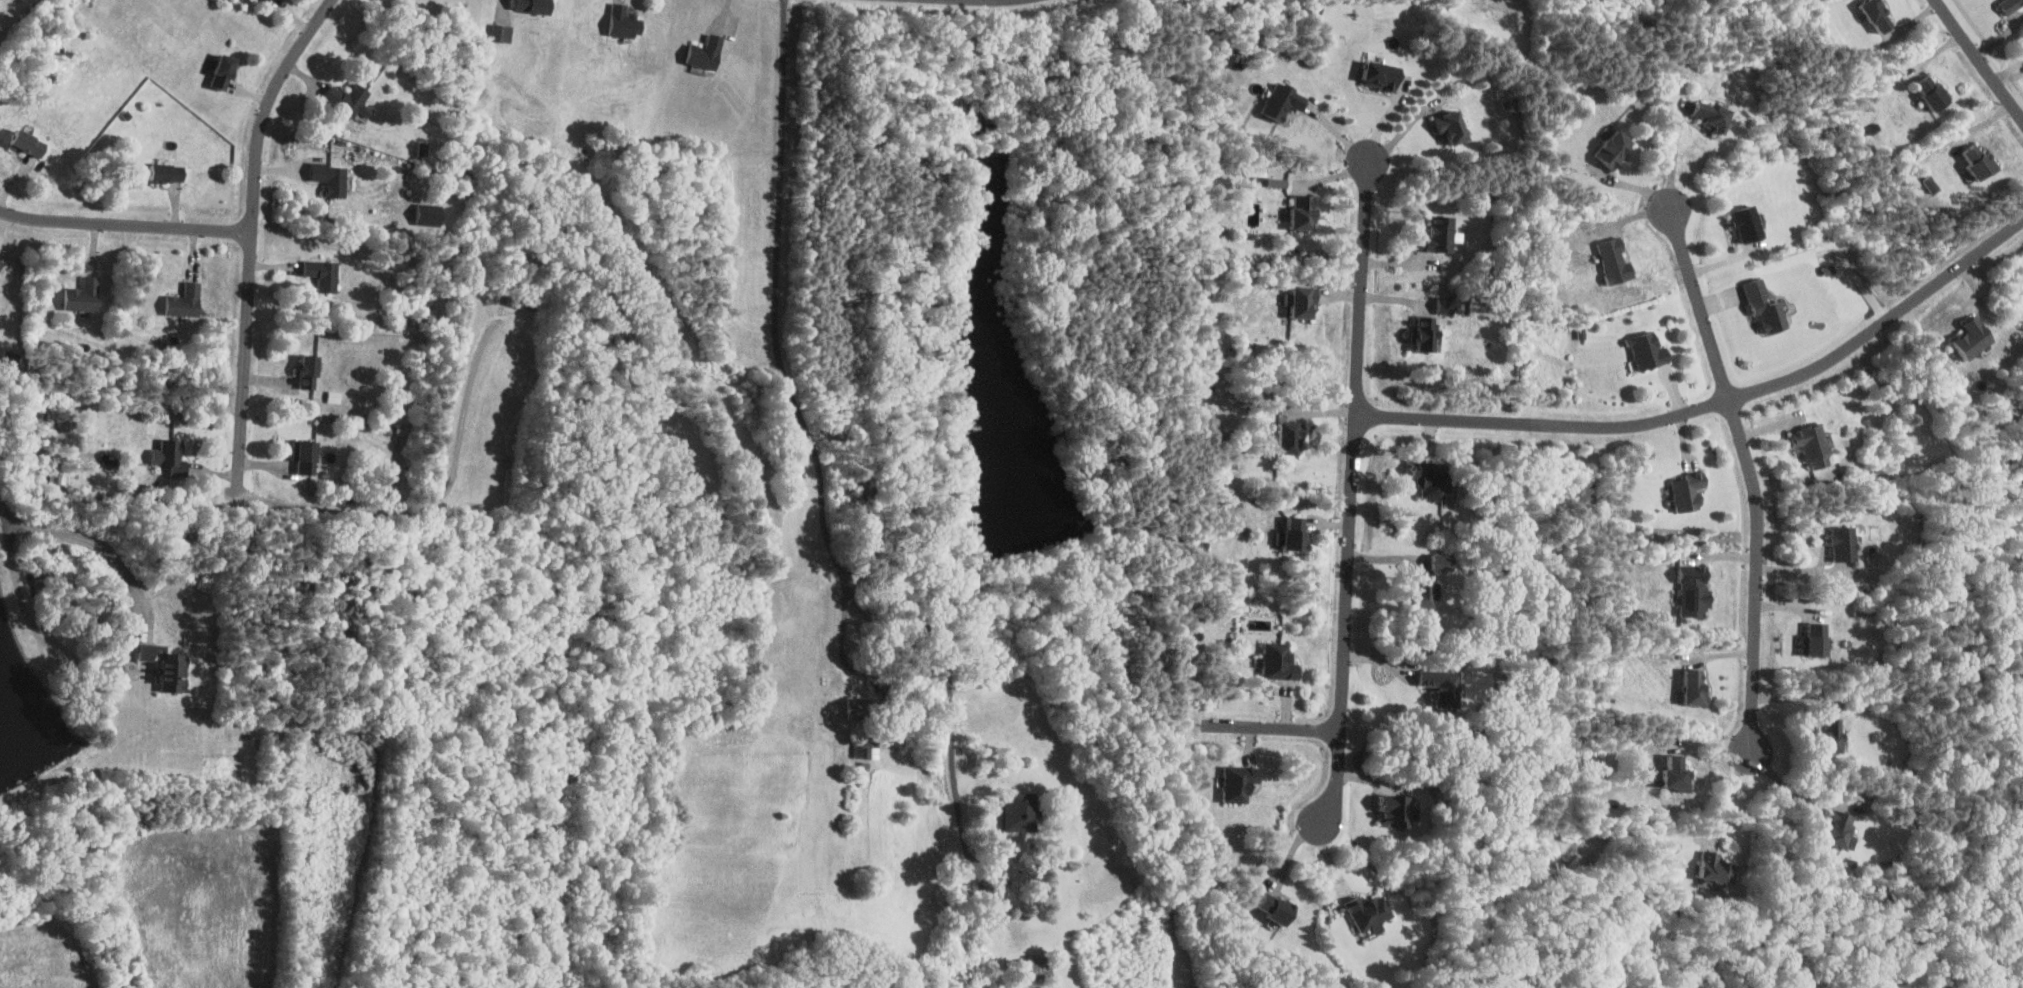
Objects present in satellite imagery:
building: (268, 0)
road: (997, 0)
building: (535, 5)
building: (2011, 5)
building: (1880, 15)
building: (625, 21)
building: (502, 32)
building: (707, 52)
road: (1979, 60)
building: (224, 71)
building: (1383, 75)
building: (1935, 91)
building: (350, 99)
building: (1284, 100)
building: (1714, 115)
building: (1453, 125)
road: (1406, 127)
building: (29, 143)
building: (1617, 147)
road: (1675, 158)
building: (1981, 160)
building: (165, 172)
building: (331, 178)
building: (1280, 182)
building: (1305, 211)
building: (430, 213)
building: (1749, 222)
road: (124, 226)
road: (249, 230)
building: (1441, 234)
building: (0, 258)
building: (1616, 261)
building: (323, 274)
road: (775, 287)
building: (84, 295)
building: (185, 301)
building: (1305, 302)
building: (1447, 304)
building: (1766, 305)
building: (1428, 333)
building: (1975, 337)
building: (1649, 350)
building: (310, 371)
road: (1714, 404)
building: (1291, 437)
building: (1813, 444)
building: (167, 453)
building: (307, 457)
building: (1431, 477)
road: (1751, 477)
road: (1353, 490)
building: (1689, 492)
building: (1298, 533)
road: (82, 537)
building: (1280, 539)
building: (1845, 543)
road: (1397, 556)
building: (1444, 561)
road: (1803, 568)
building: (1695, 590)
building: (1426, 591)
building: (1817, 640)
building: (147, 652)
building: (1280, 661)
road: (947, 665)
road: (851, 671)
building: (173, 672)
building: (1444, 686)
building: (1697, 688)
building: (863, 707)
road: (1276, 730)
building: (1835, 736)
building: (869, 750)
building: (1677, 773)
building: (1240, 783)
road: (1791, 791)
road: (1729, 796)
building: (1396, 811)
building: (1021, 812)
building: (1842, 830)
building: (1717, 867)
building: (1277, 908)
building: (1370, 913)
building: (1035, 972)

